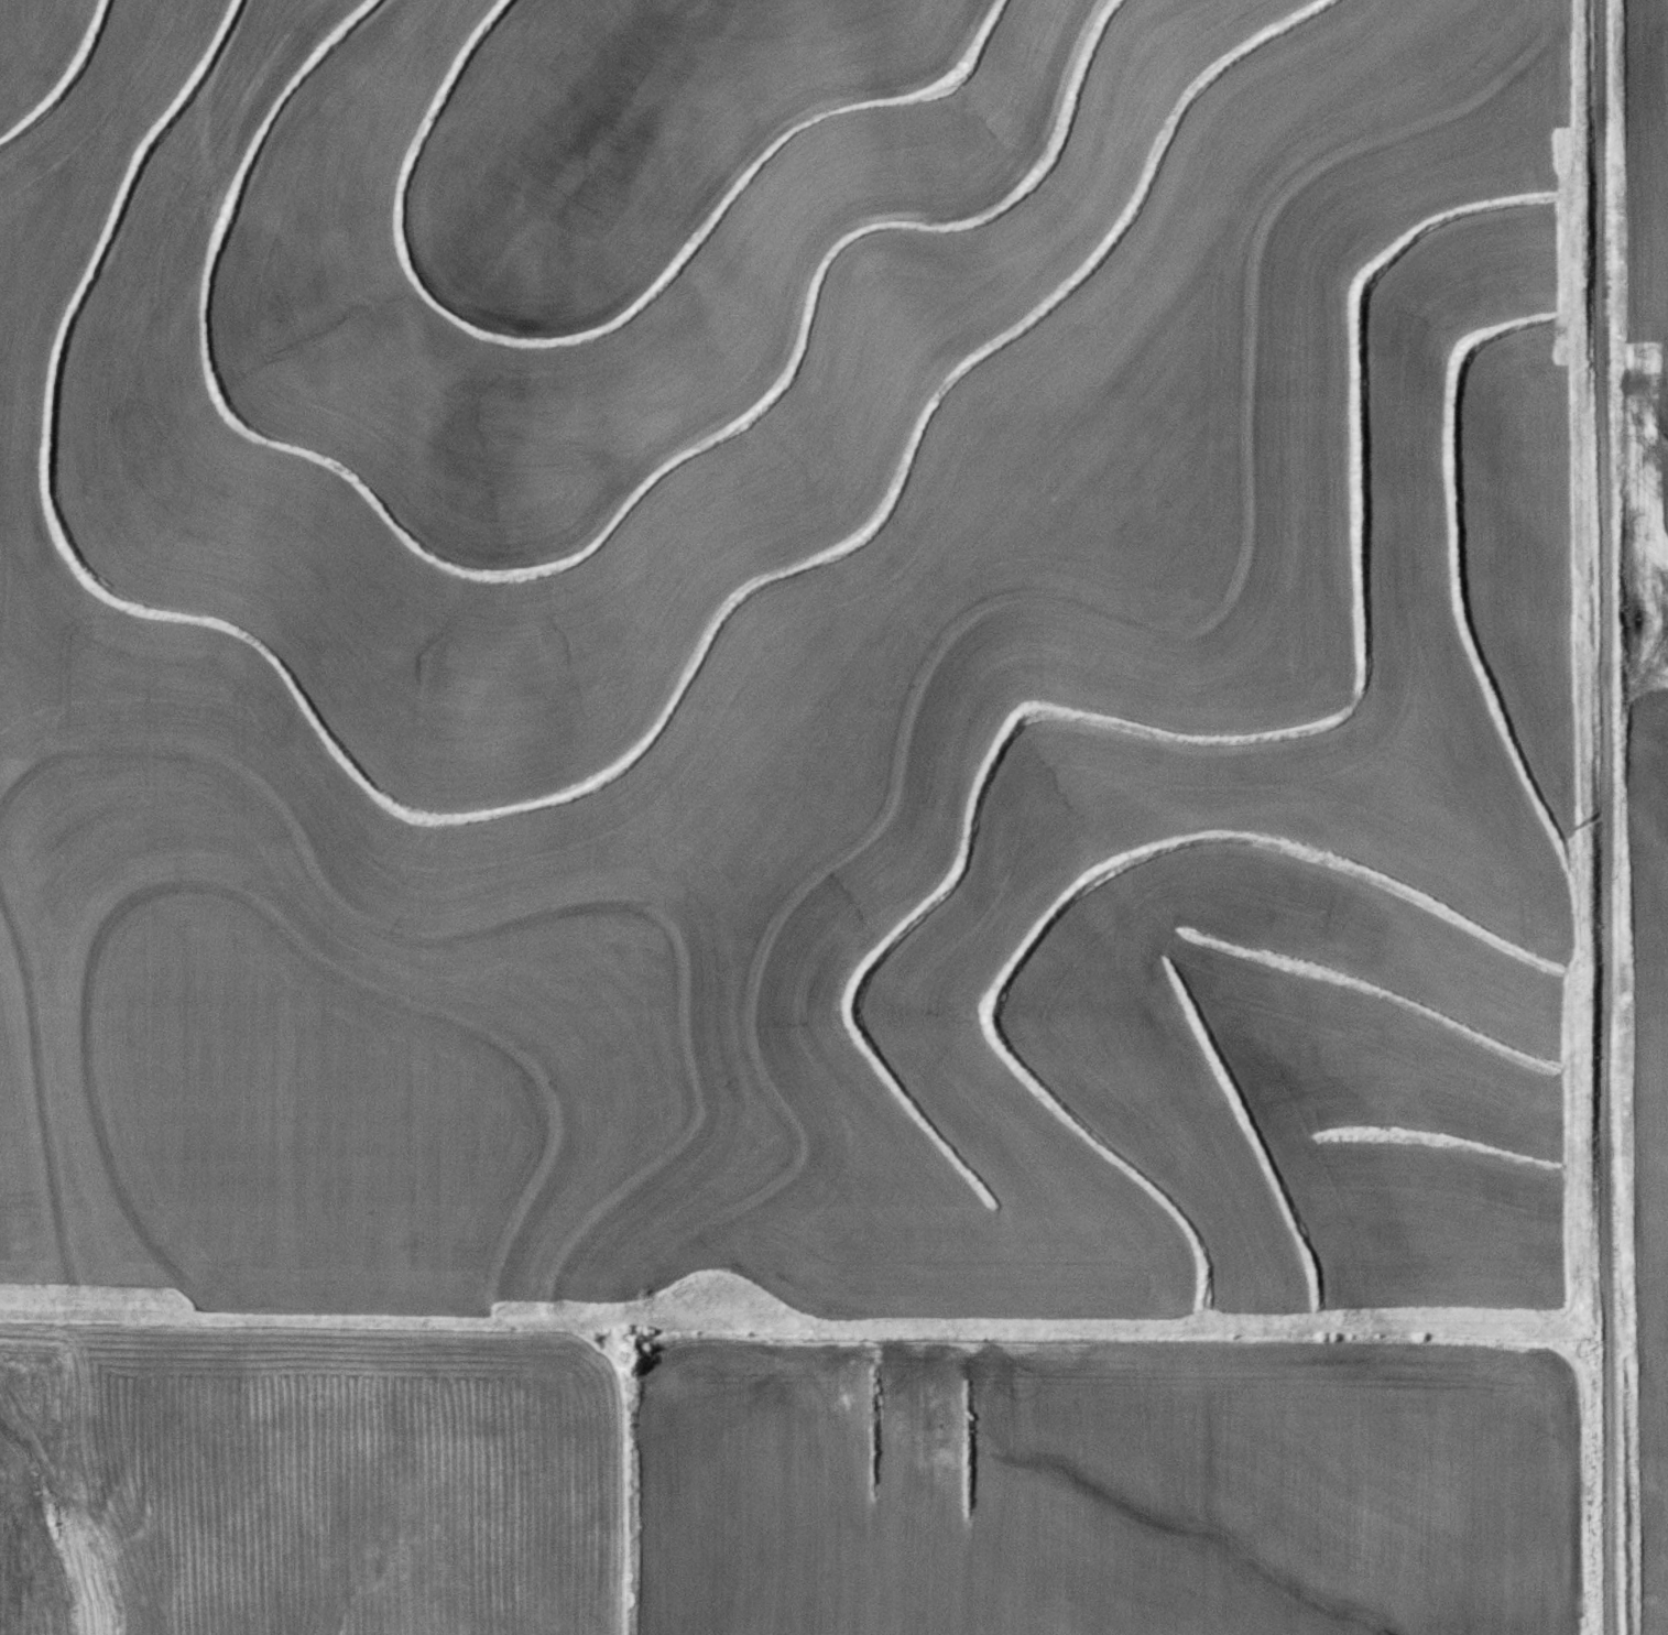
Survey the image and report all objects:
road: (1602, 817)

